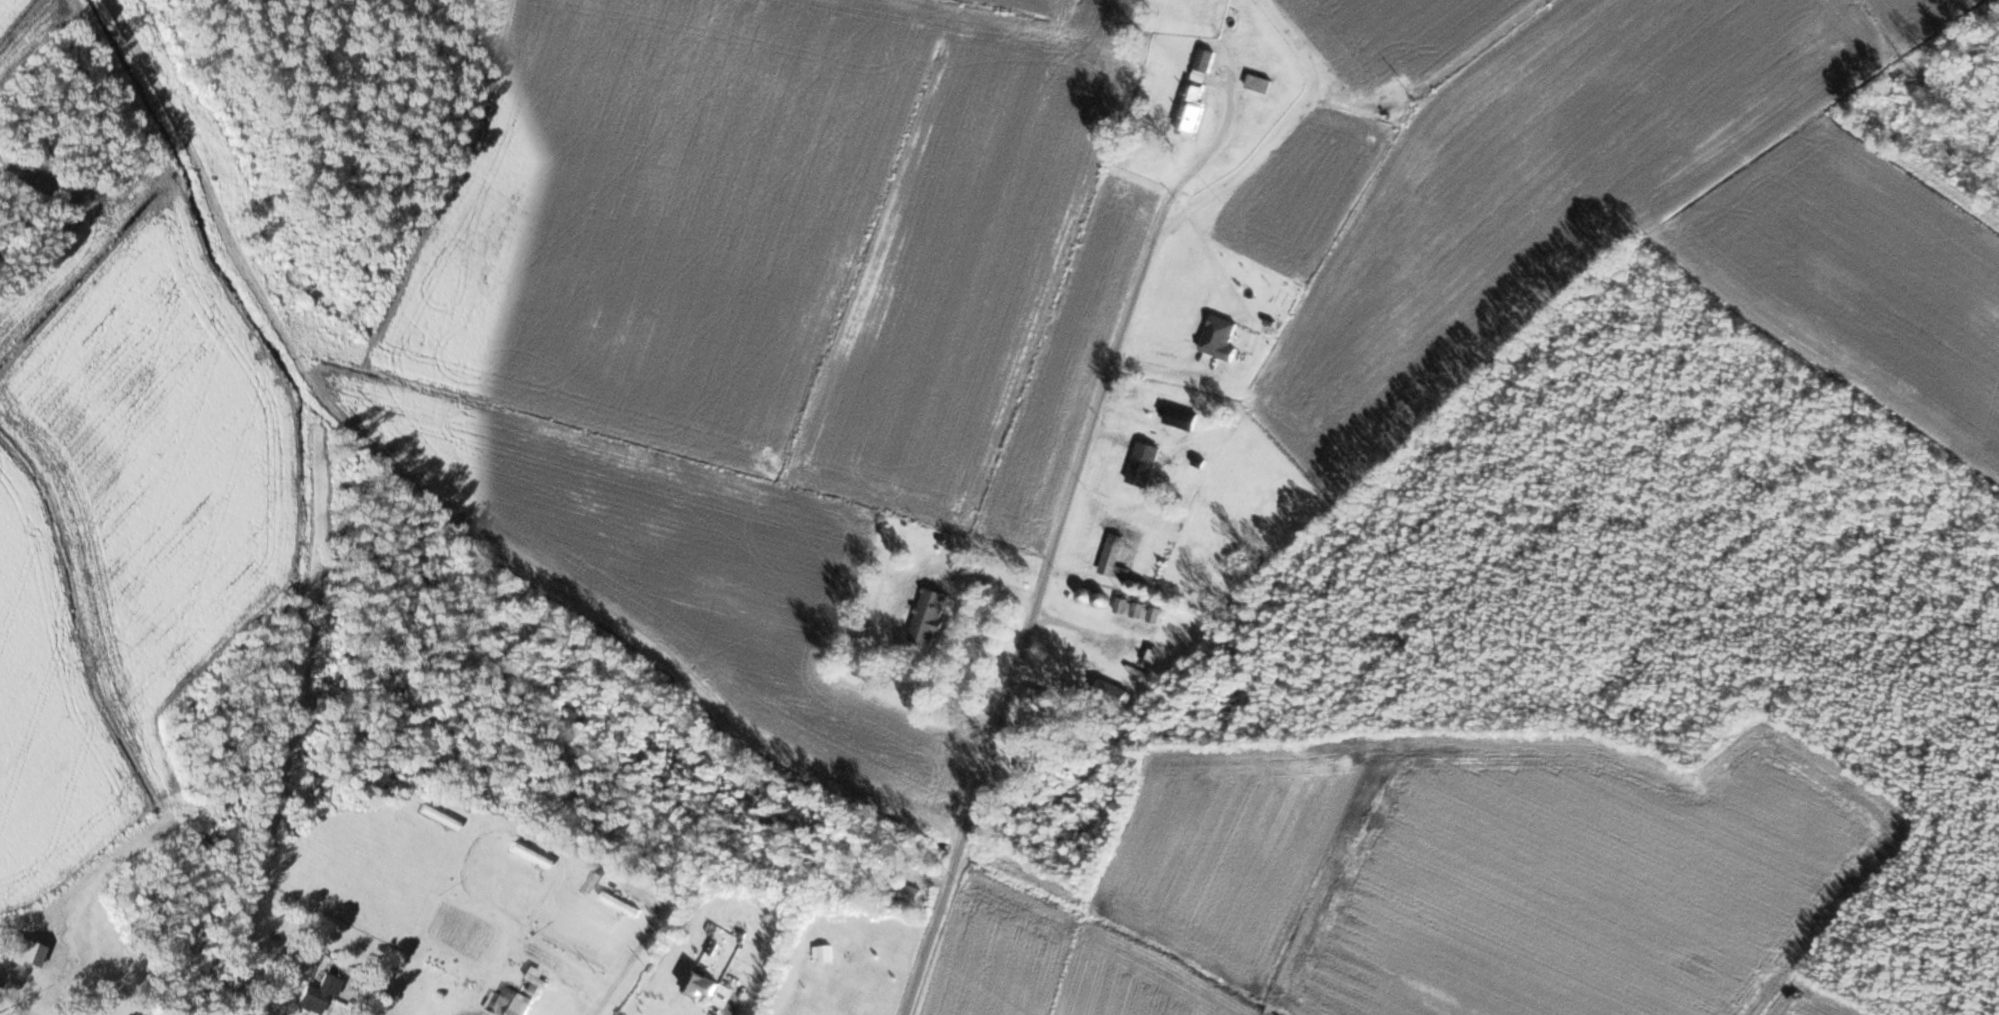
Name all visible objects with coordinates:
building: (1260, 83)
building: (1198, 91)
building: (1200, 314)
building: (1180, 418)
building: (1144, 464)
road: (1061, 532)
building: (1115, 549)
building: (1088, 595)
building: (1103, 600)
road: (899, 607)
building: (930, 616)
building: (1138, 617)
road: (1076, 627)
building: (1113, 691)
building: (1037, 699)
building: (1030, 762)
building: (24, 951)
building: (702, 987)
building: (319, 995)
building: (507, 1009)
road: (725, 1009)

